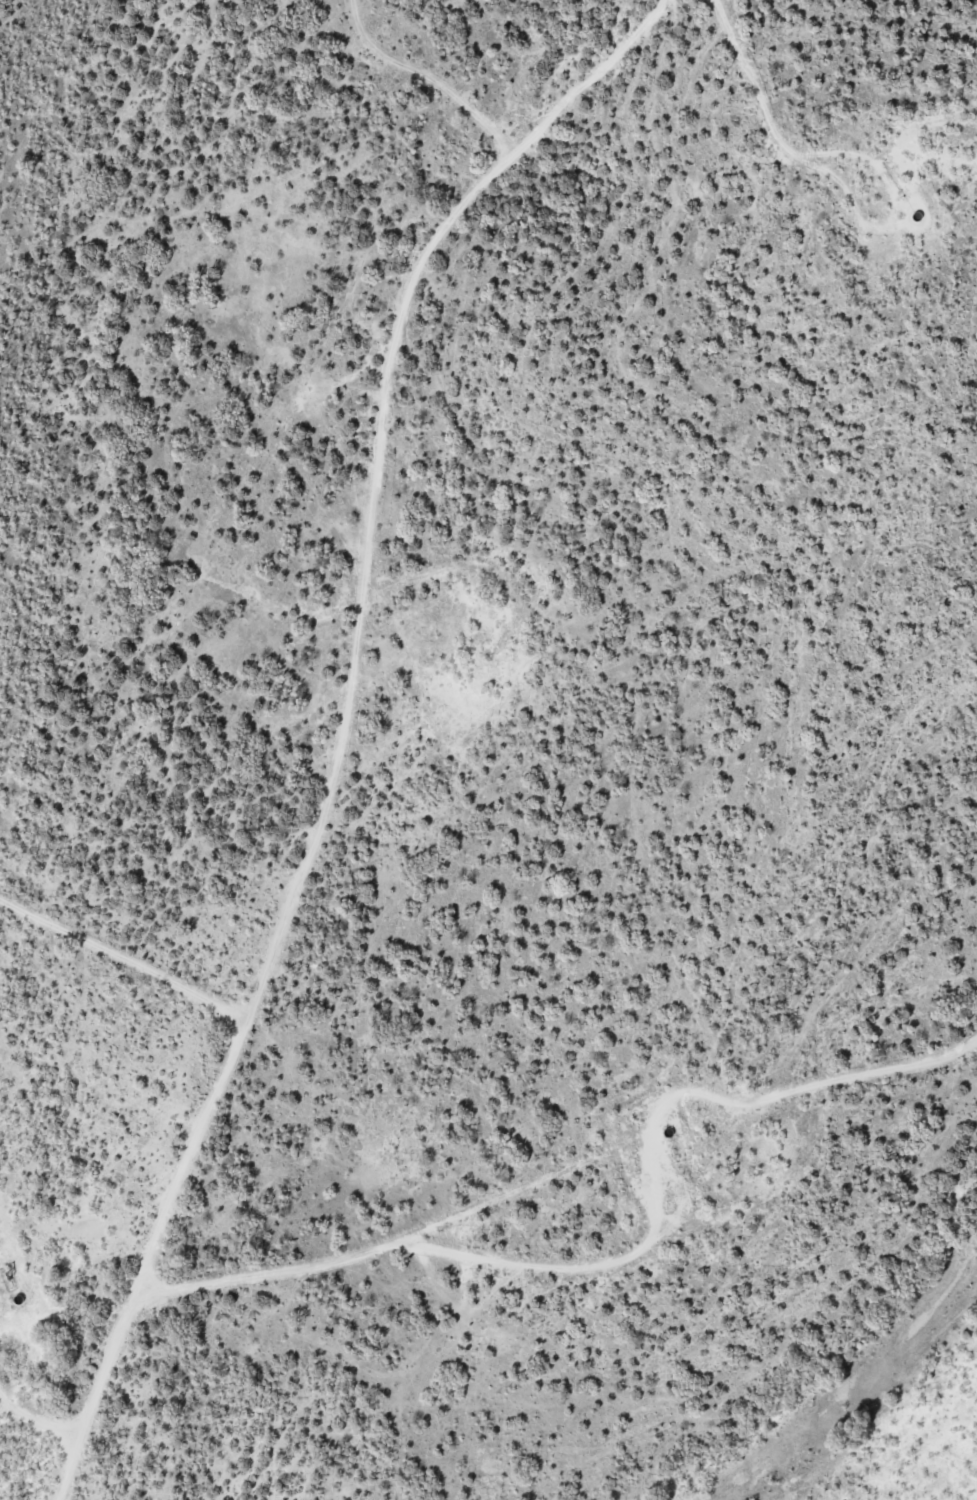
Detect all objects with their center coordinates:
road: (364, 597)
road: (454, 1194)

